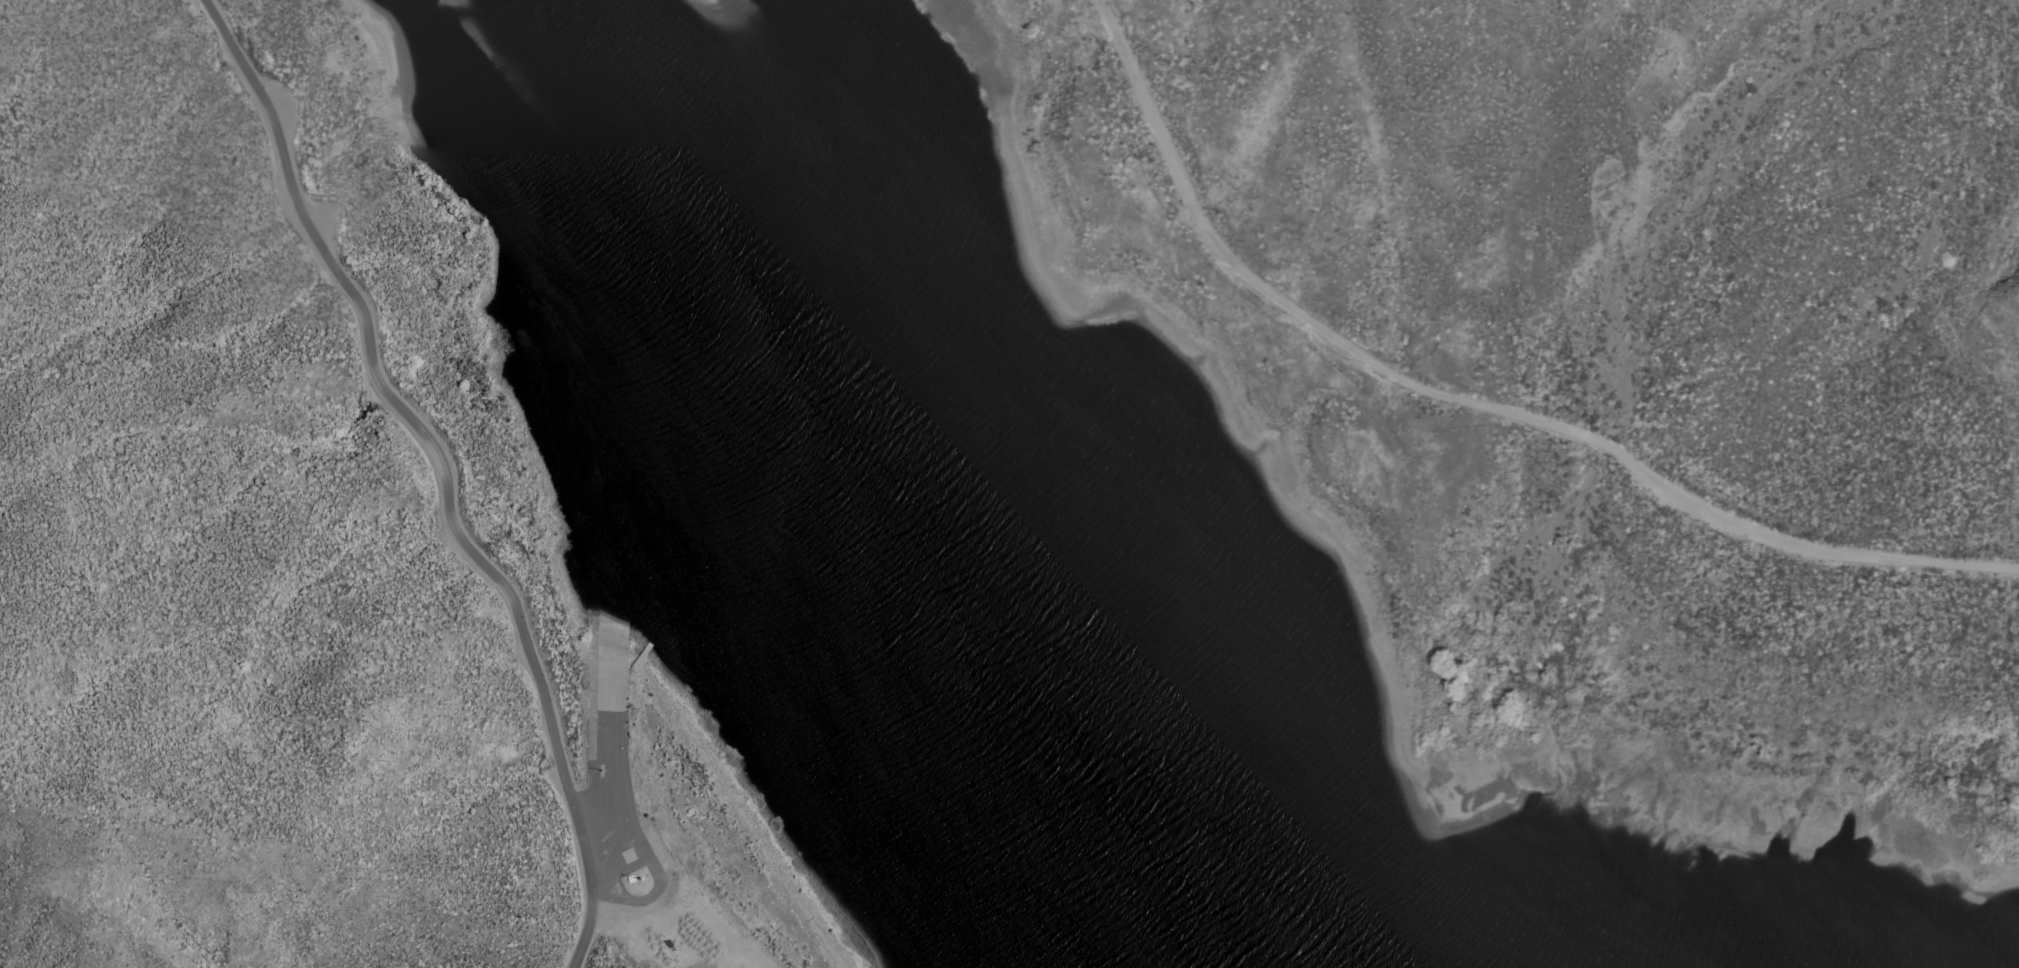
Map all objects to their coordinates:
road: (1470, 403)
road: (452, 465)

